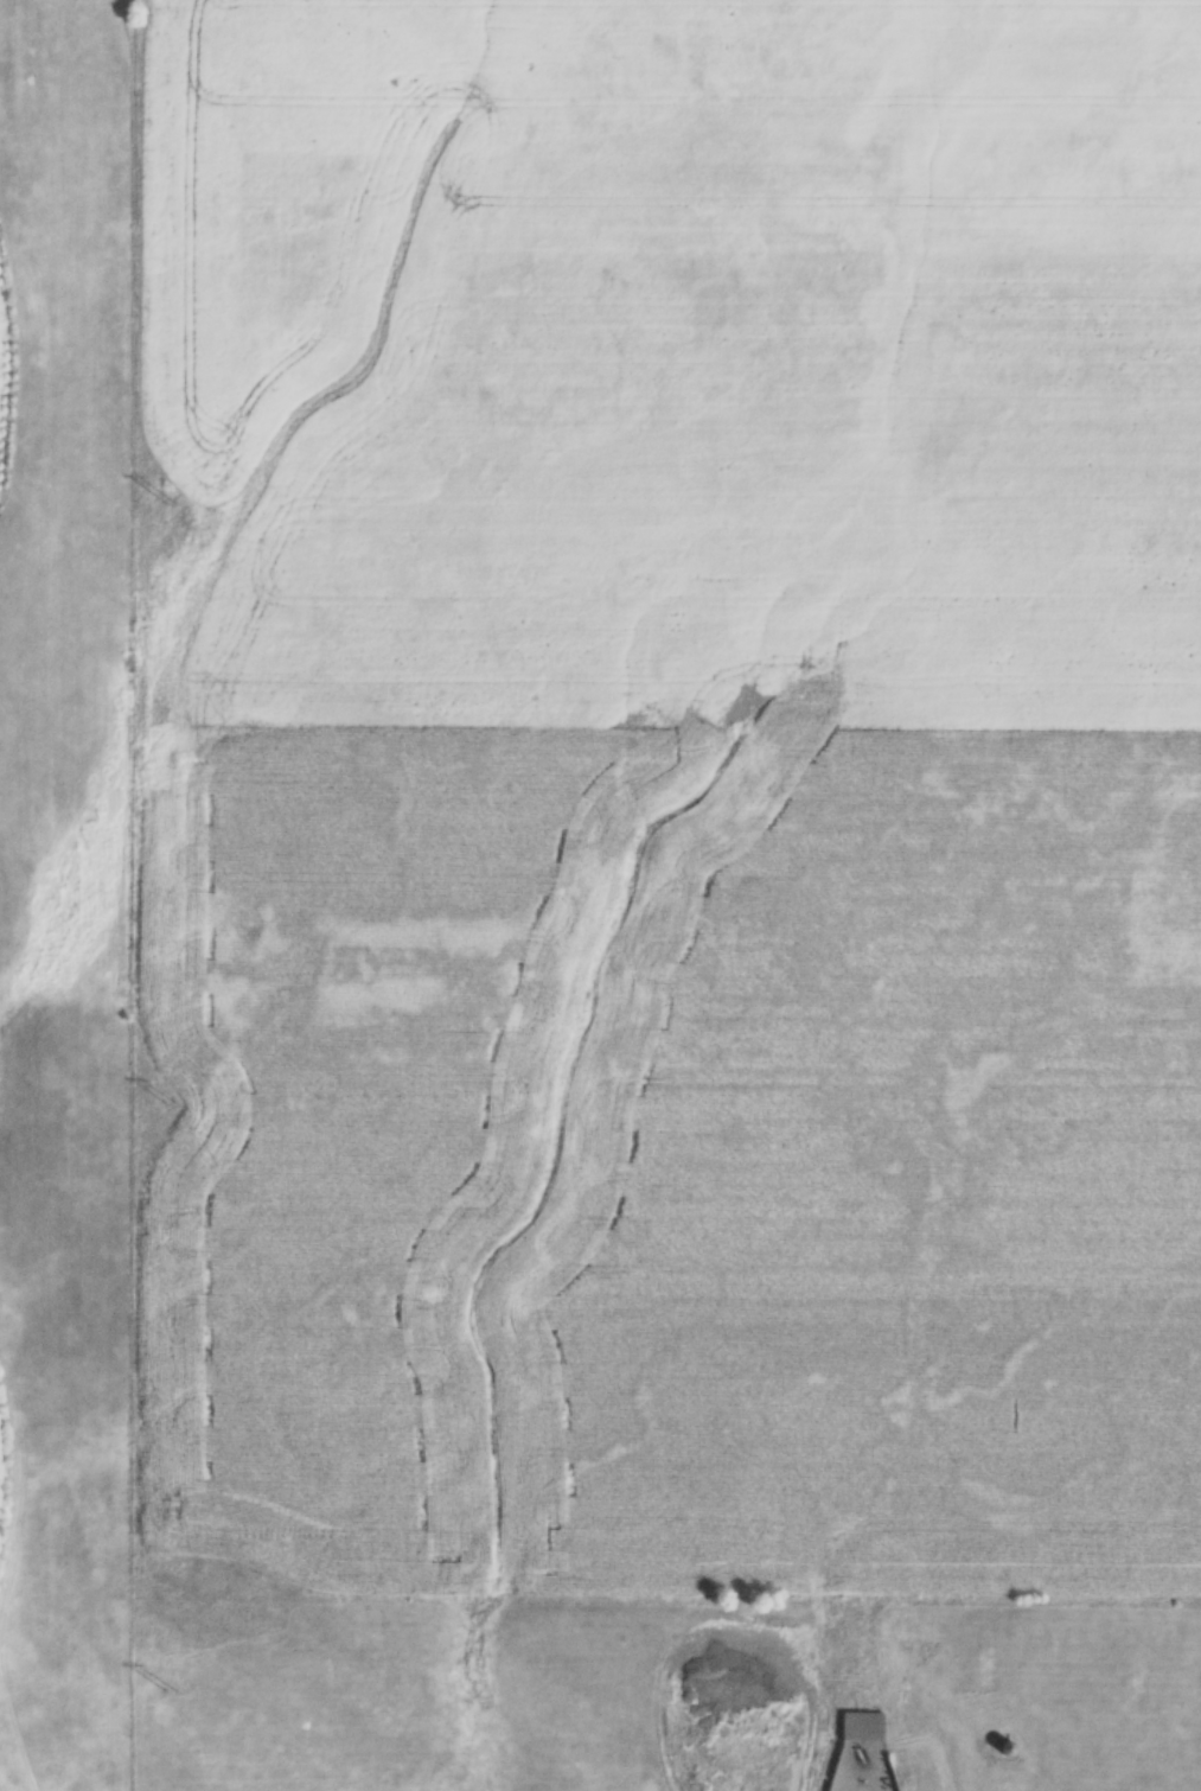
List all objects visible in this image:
power tower: (175, 504)
power tower: (173, 1107)
power tower: (172, 1684)
building: (864, 1727)
building: (1011, 1749)
road: (943, 1753)

